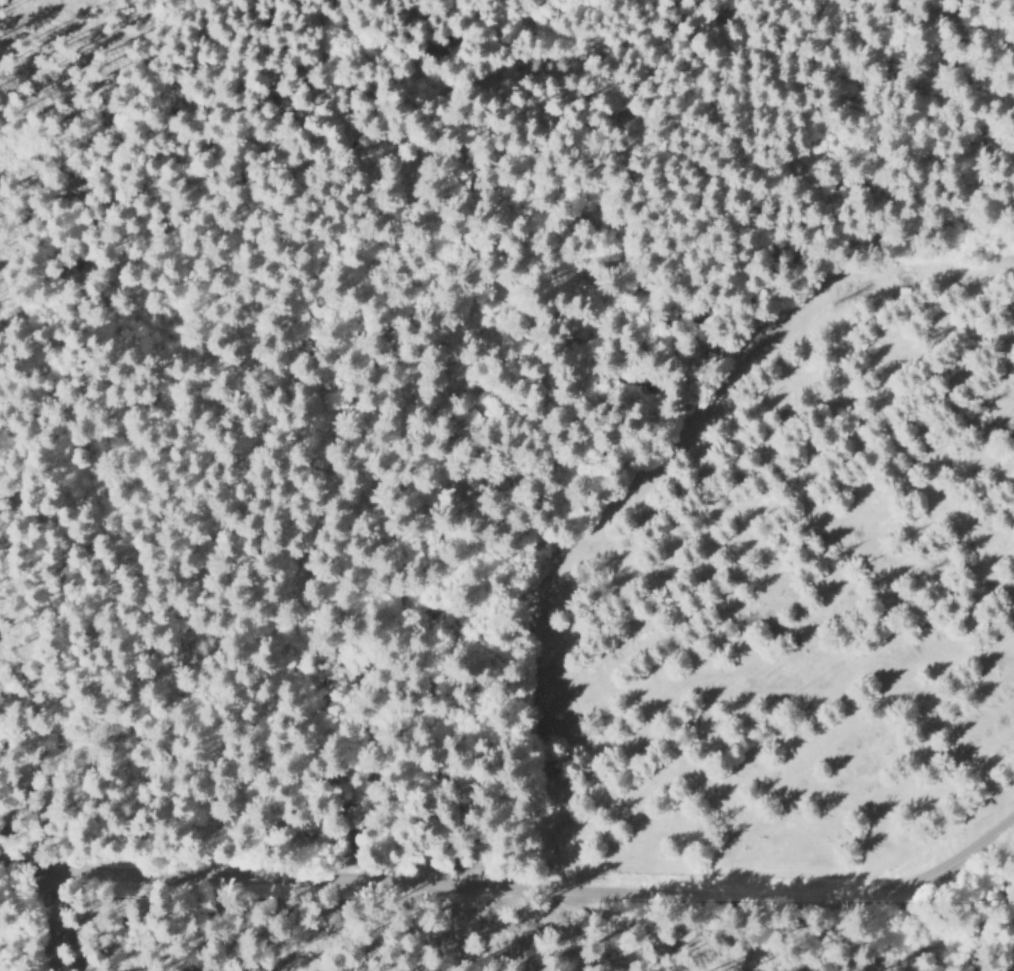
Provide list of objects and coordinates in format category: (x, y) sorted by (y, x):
road: (517, 885)
road: (53, 919)

